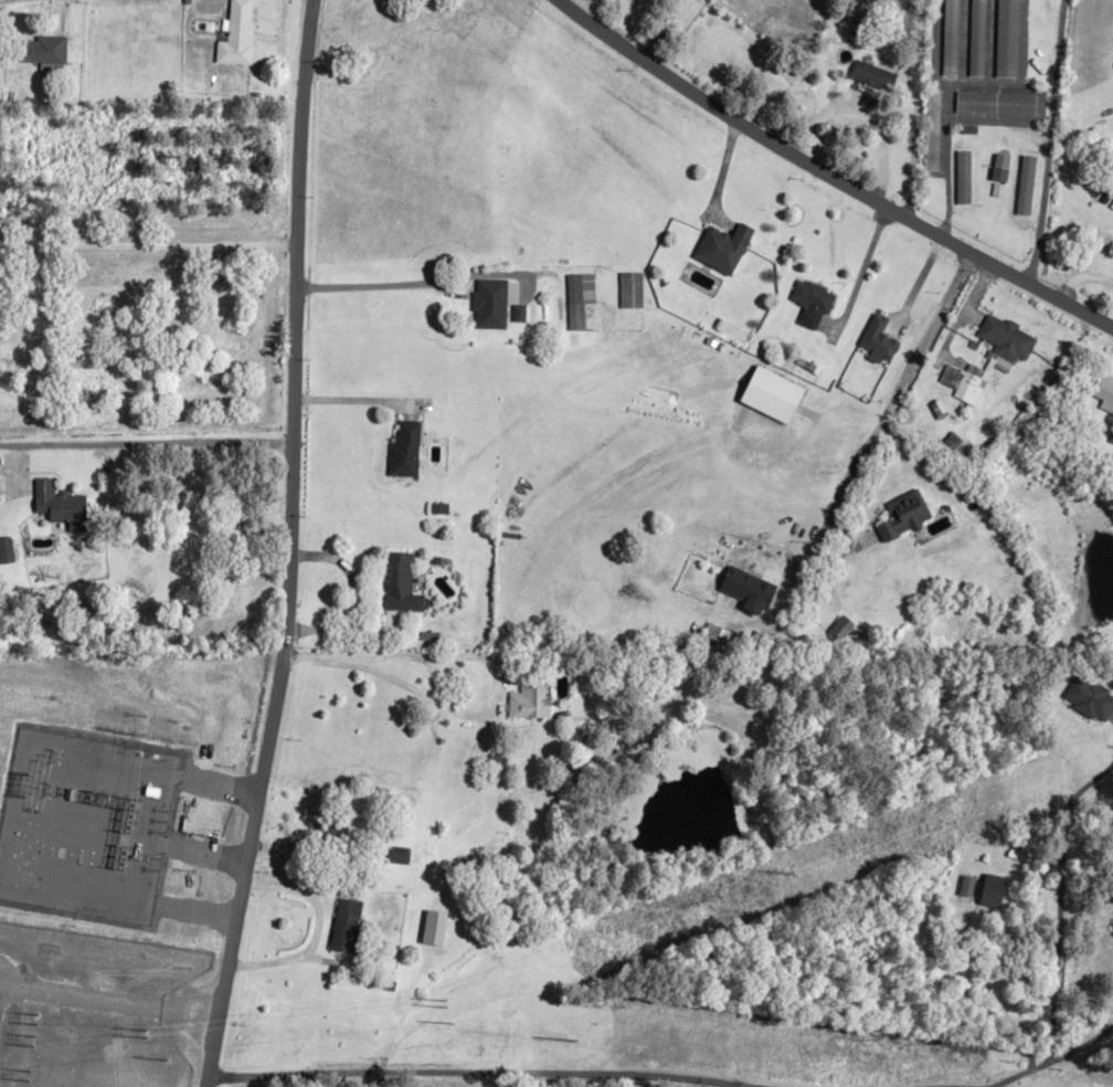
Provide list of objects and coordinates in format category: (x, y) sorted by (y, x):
building: (850, 14)
building: (234, 35)
building: (947, 38)
building: (974, 38)
building: (1004, 39)
building: (42, 50)
building: (870, 75)
building: (993, 103)
road: (858, 113)
building: (929, 130)
building: (998, 161)
road: (827, 176)
building: (960, 177)
building: (1022, 186)
building: (721, 247)
road: (856, 270)
road: (370, 285)
building: (628, 289)
building: (576, 299)
building: (807, 302)
building: (488, 304)
building: (1001, 338)
building: (875, 339)
building: (966, 383)
road: (886, 393)
road: (350, 402)
road: (145, 442)
building: (403, 448)
building: (60, 506)
building: (900, 516)
road: (285, 546)
building: (6, 550)
building: (732, 583)
building: (399, 584)
building: (839, 627)
building: (526, 698)
building: (1090, 698)
building: (496, 764)
building: (325, 832)
building: (395, 855)
building: (994, 890)
building: (346, 926)
building: (1112, 927)
building: (434, 928)
road: (1052, 1058)
road: (470, 1073)

